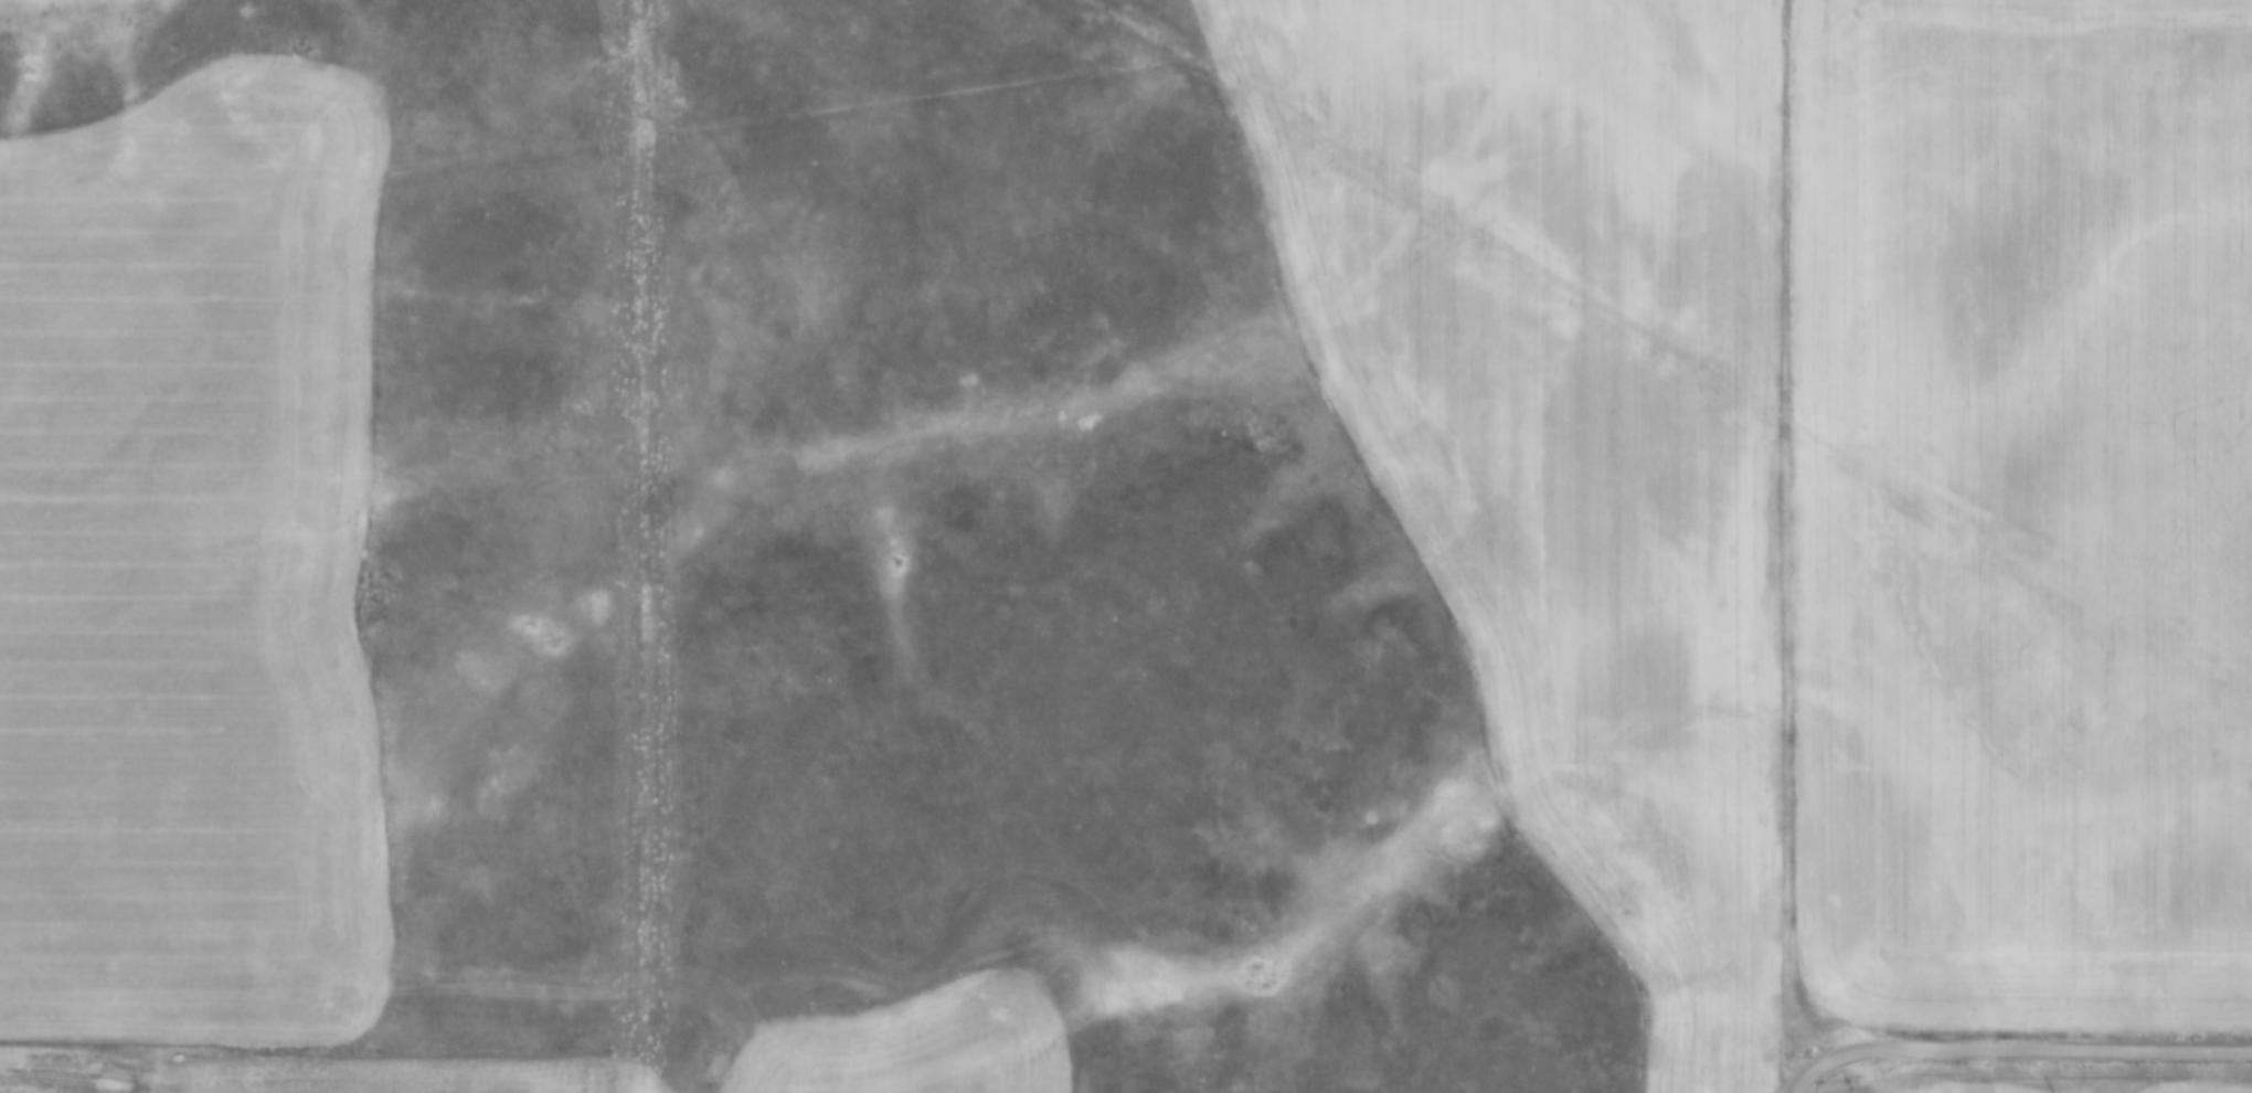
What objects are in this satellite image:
road: (2019, 1047)

